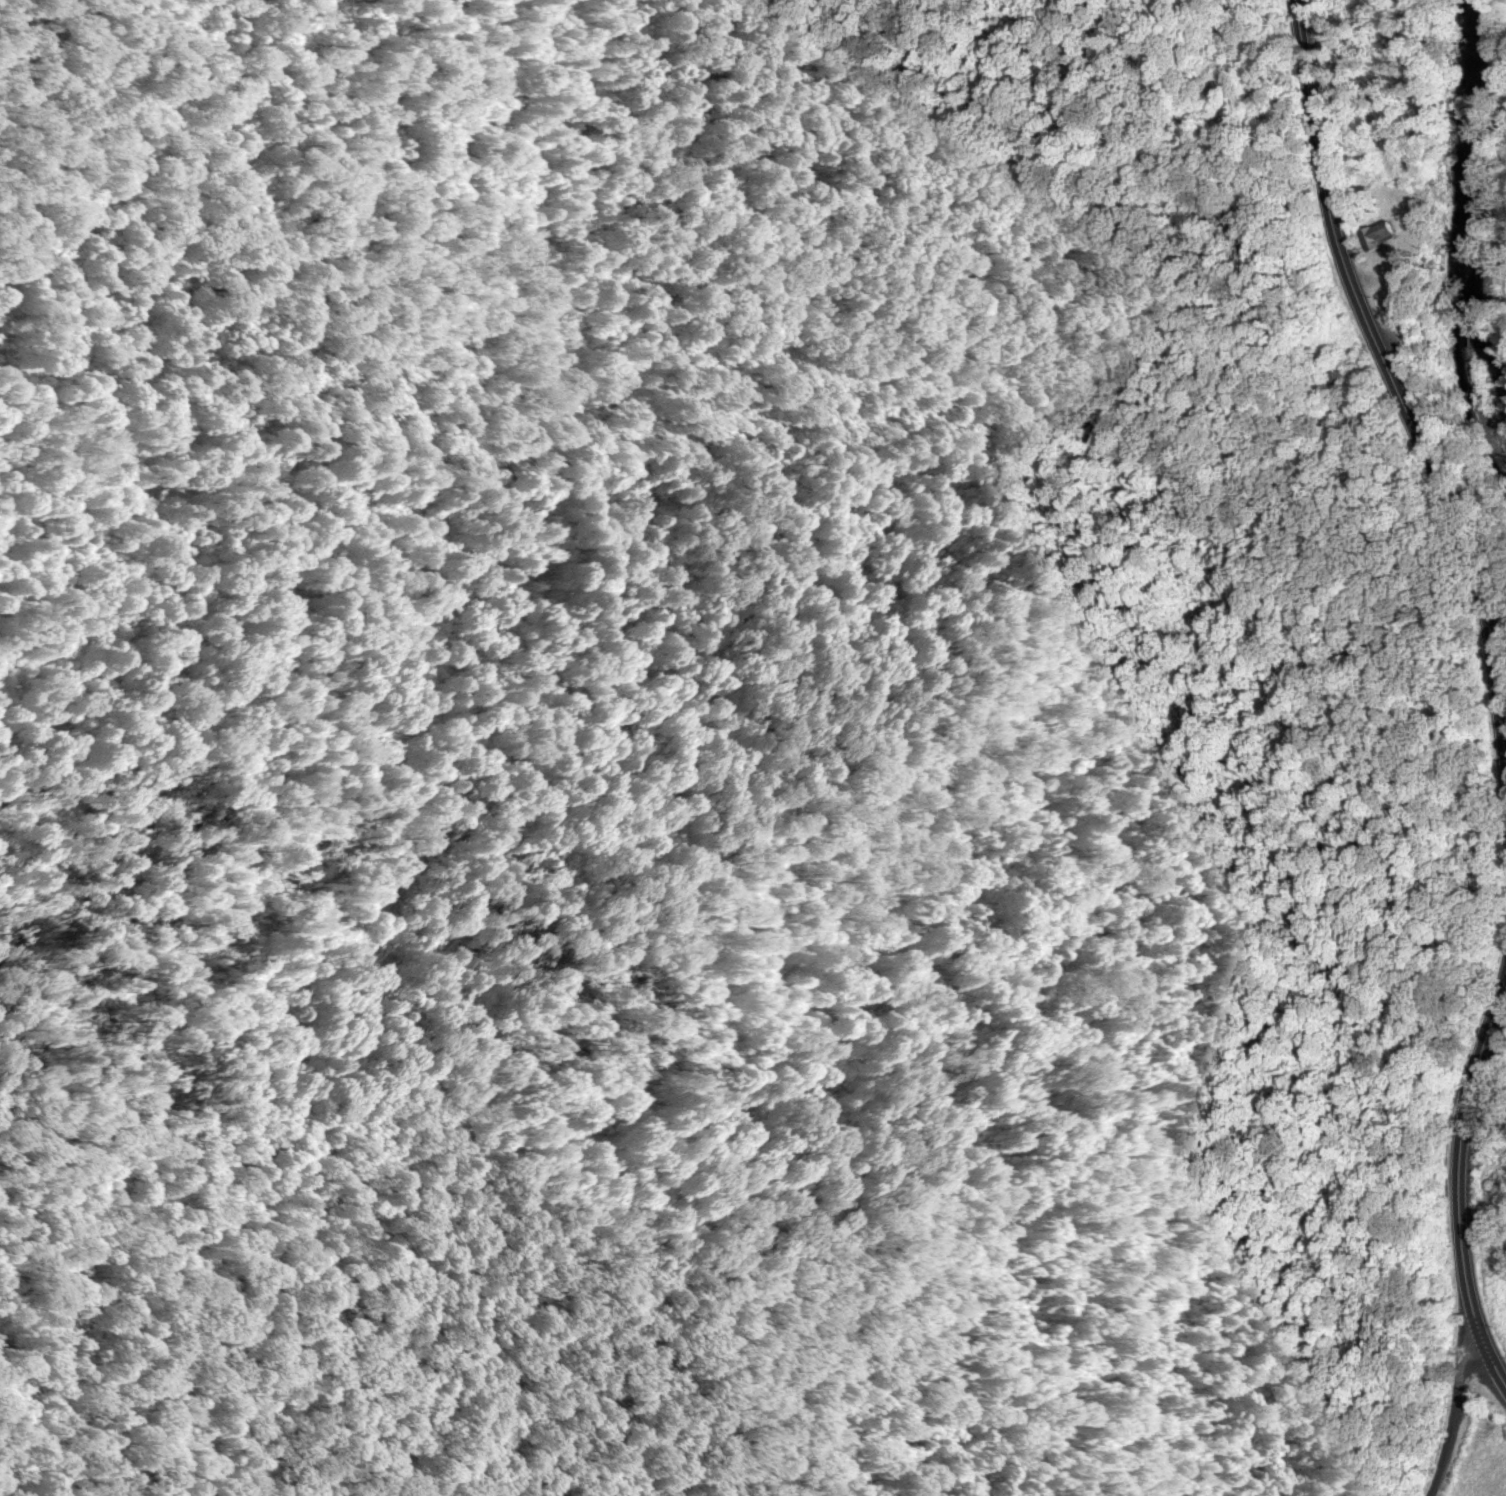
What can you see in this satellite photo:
river: (1468, 194)
road: (1490, 683)
road: (1440, 1420)

